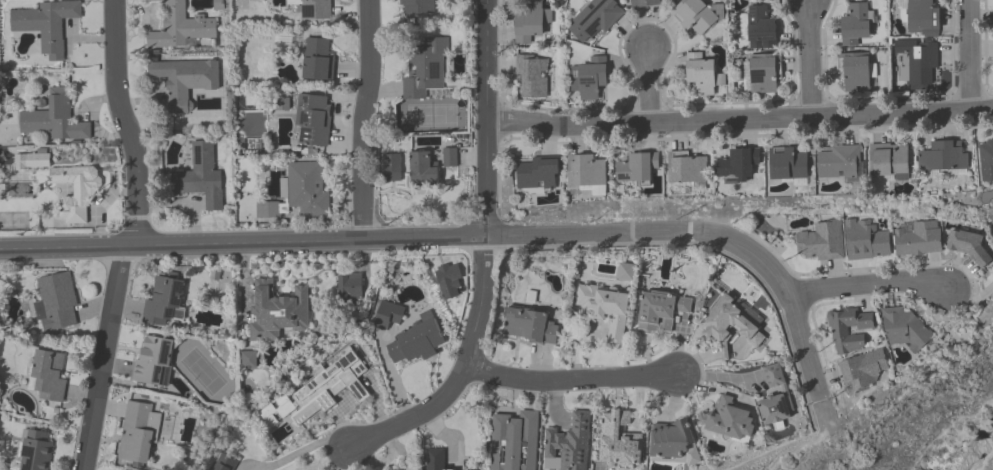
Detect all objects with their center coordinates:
building: (645, 3)
building: (417, 7)
building: (315, 10)
building: (697, 16)
building: (921, 17)
building: (595, 20)
building: (530, 23)
building: (47, 25)
building: (855, 26)
building: (179, 27)
building: (759, 30)
road: (972, 57)
building: (318, 60)
road: (813, 60)
building: (919, 65)
building: (427, 72)
building: (702, 74)
building: (762, 74)
building: (856, 74)
building: (532, 77)
building: (590, 78)
building: (184, 81)
road: (649, 86)
road: (489, 118)
building: (55, 119)
road: (364, 119)
building: (313, 120)
road: (741, 122)
road: (123, 125)
building: (944, 158)
building: (449, 159)
building: (839, 162)
building: (889, 162)
building: (986, 163)
building: (738, 165)
building: (788, 165)
building: (391, 168)
building: (637, 169)
building: (423, 170)
building: (586, 171)
building: (687, 171)
building: (538, 175)
building: (201, 178)
building: (66, 185)
building: (306, 190)
building: (268, 211)
road: (701, 230)
building: (916, 237)
building: (865, 240)
building: (821, 241)
road: (242, 242)
building: (968, 246)
building: (626, 272)
road: (870, 287)
building: (352, 288)
building: (162, 300)
building: (56, 302)
building: (605, 309)
building: (278, 311)
building: (661, 311)
building: (388, 314)
building: (730, 324)
building: (529, 326)
building: (905, 328)
building: (841, 331)
building: (417, 340)
road: (103, 358)
building: (153, 360)
building: (249, 362)
building: (863, 370)
road: (462, 372)
building: (48, 375)
road: (571, 381)
building: (330, 385)
building: (776, 397)
building: (276, 411)
building: (728, 420)
building: (135, 433)
building: (622, 438)
building: (672, 440)
building: (515, 441)
building: (568, 444)
building: (36, 450)
road: (304, 450)
building: (436, 460)
building: (225, 463)

